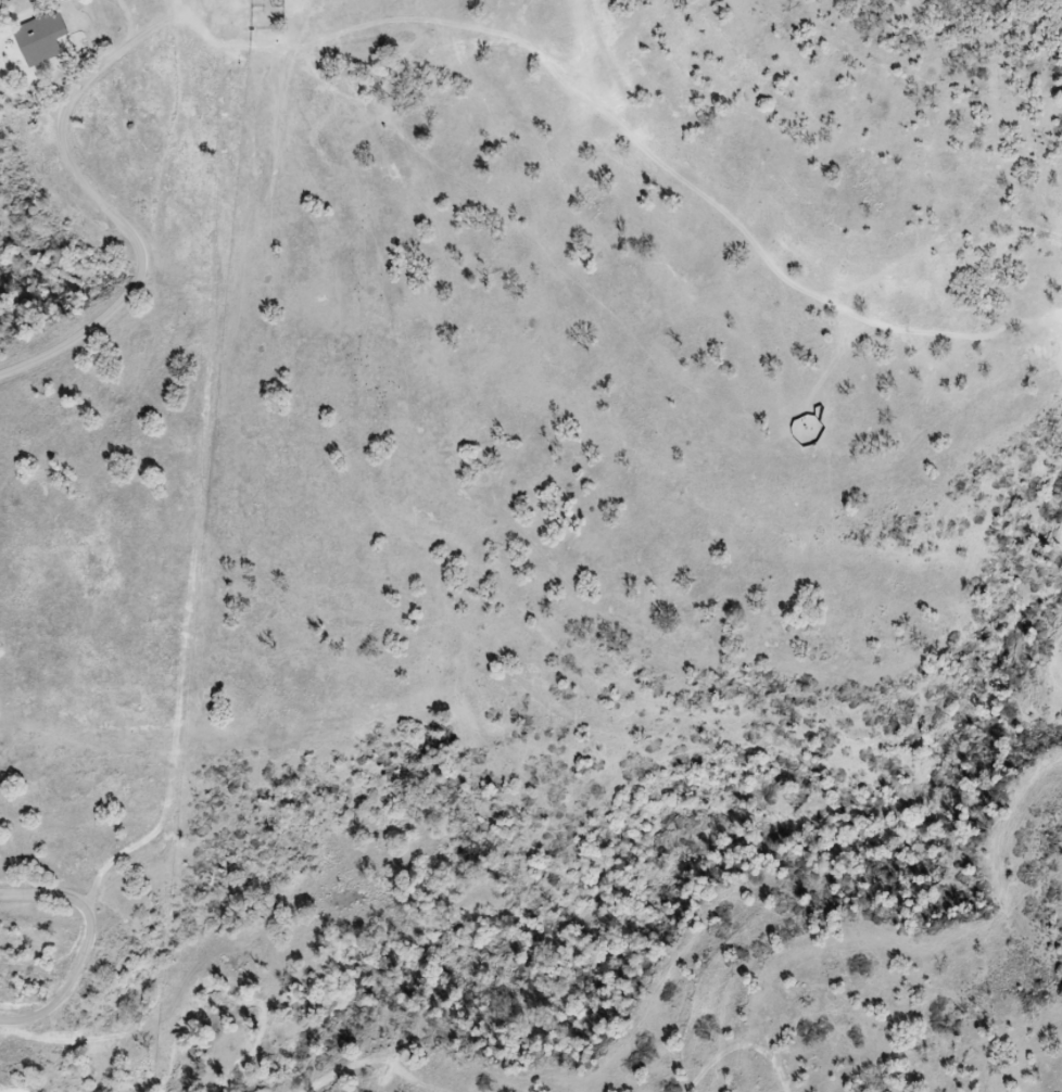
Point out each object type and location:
building: (299, 5)
building: (46, 38)

